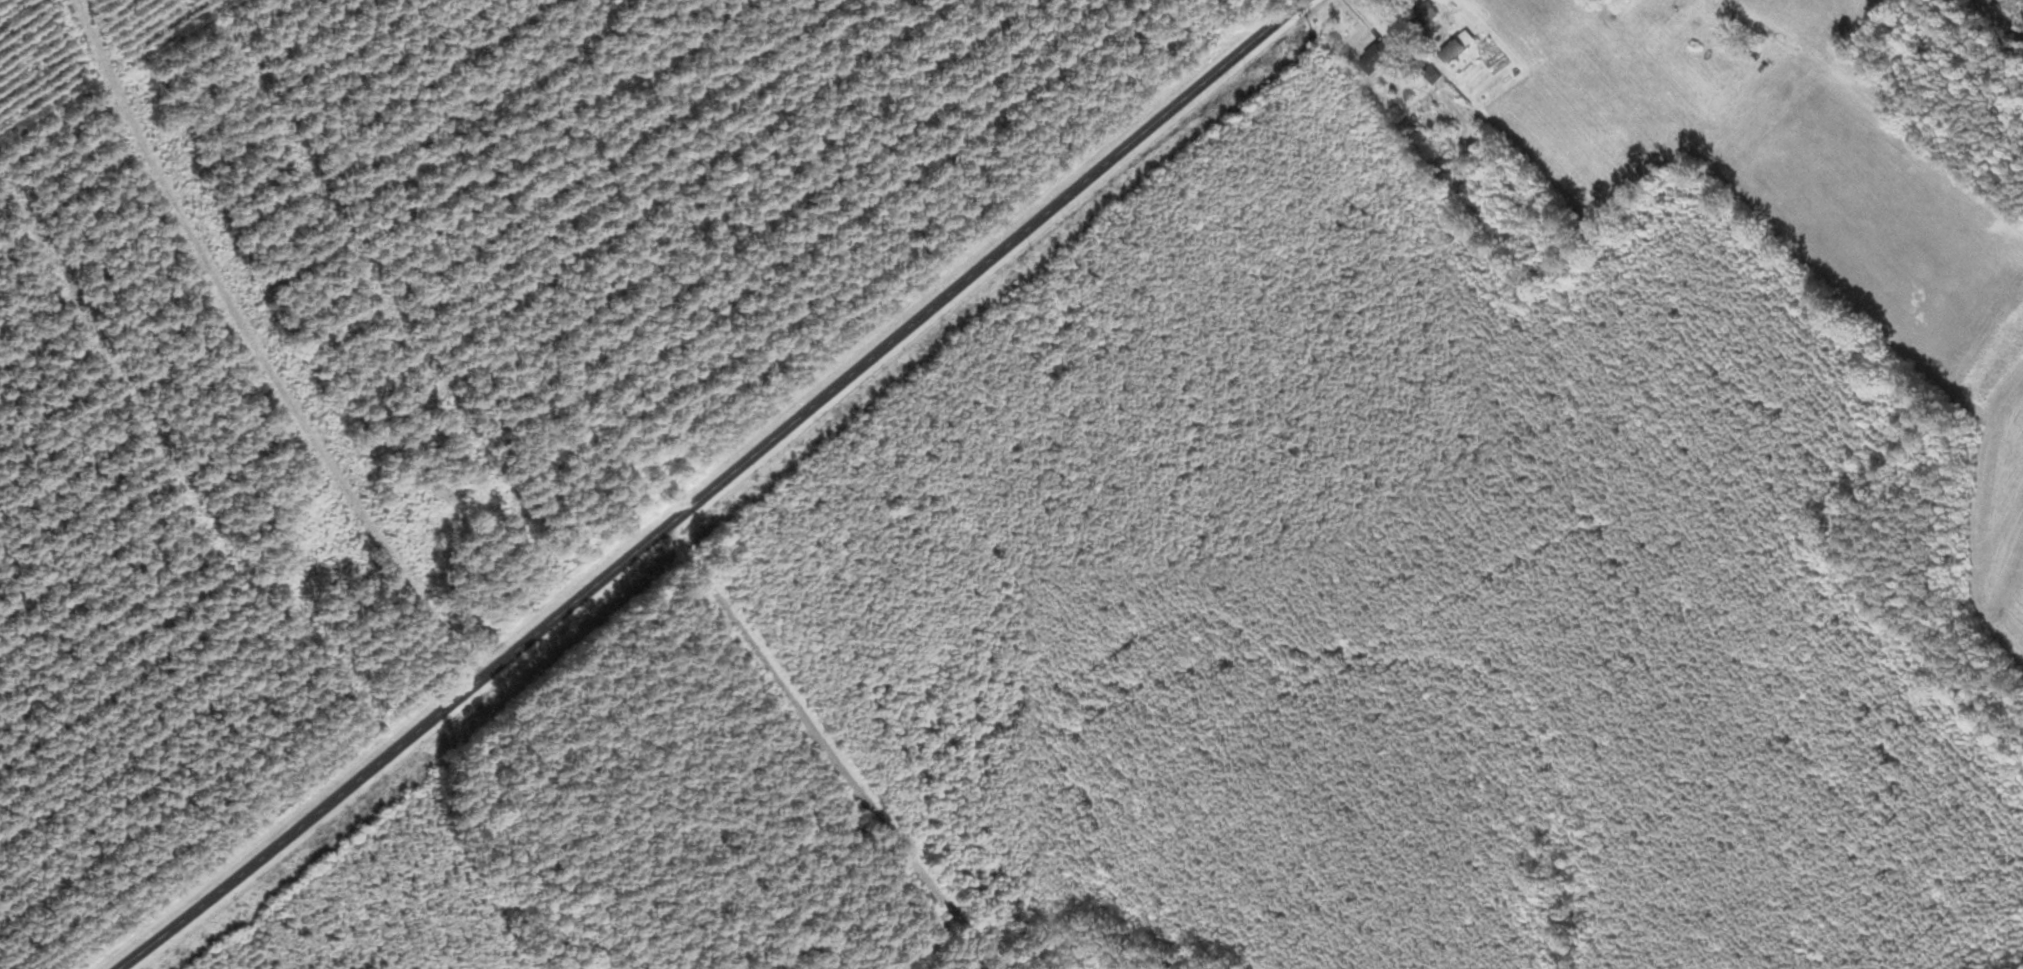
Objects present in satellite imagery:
building: (1417, 19)
building: (1455, 47)
building: (1375, 58)
road: (708, 487)

